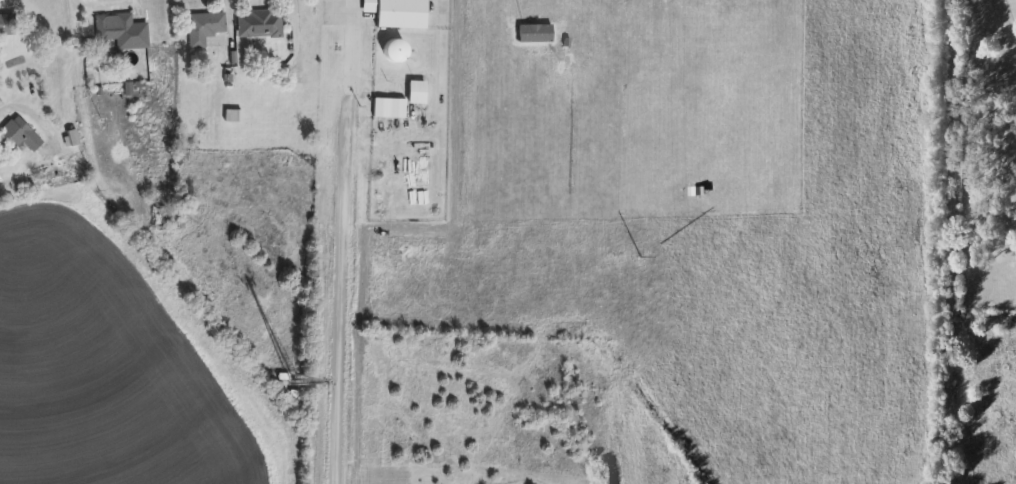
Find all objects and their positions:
building: (398, 13)
building: (259, 24)
building: (7, 25)
building: (204, 28)
building: (121, 31)
road: (302, 43)
building: (395, 50)
building: (418, 92)
building: (390, 108)
road: (30, 109)
building: (21, 134)
road: (340, 241)
road: (950, 241)
power tower: (618, 258)

